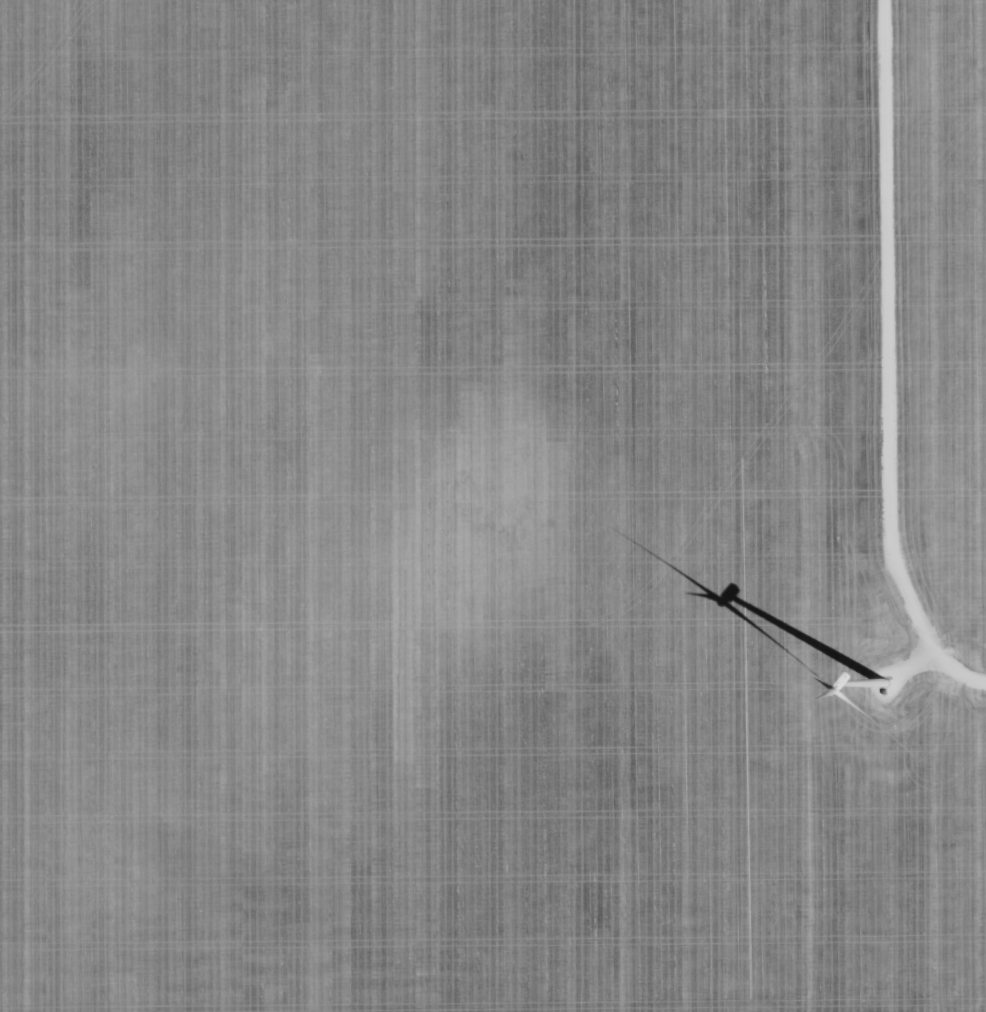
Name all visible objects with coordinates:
wind turbine: (878, 685)

